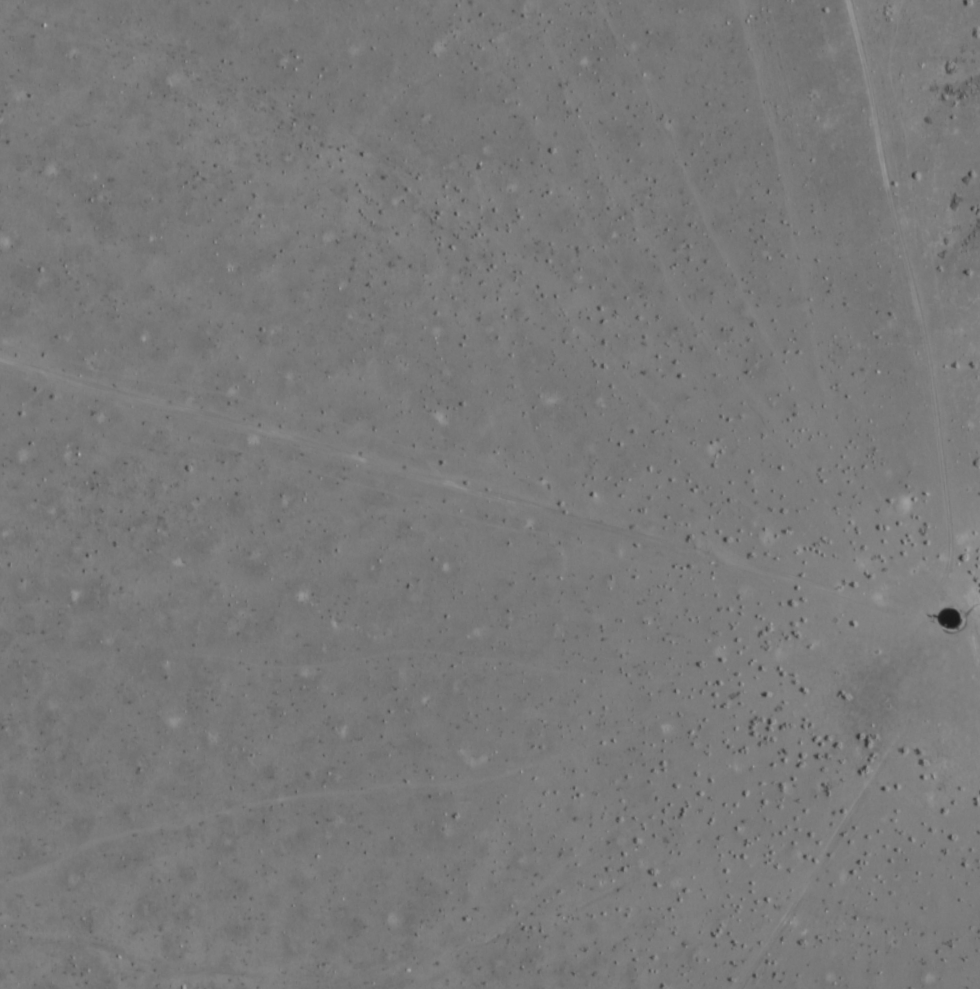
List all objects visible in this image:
road: (919, 313)
road: (499, 498)
storage tank: (952, 620)
road: (849, 816)

